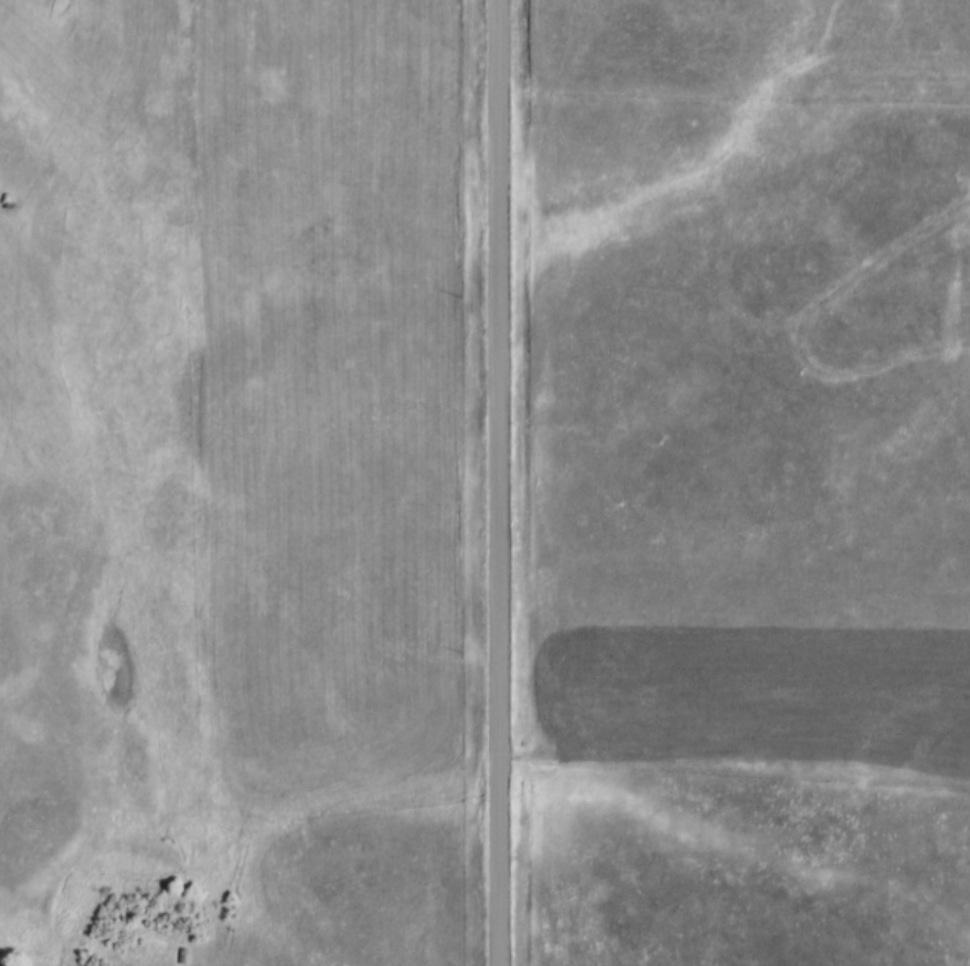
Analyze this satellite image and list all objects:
road: (498, 483)

